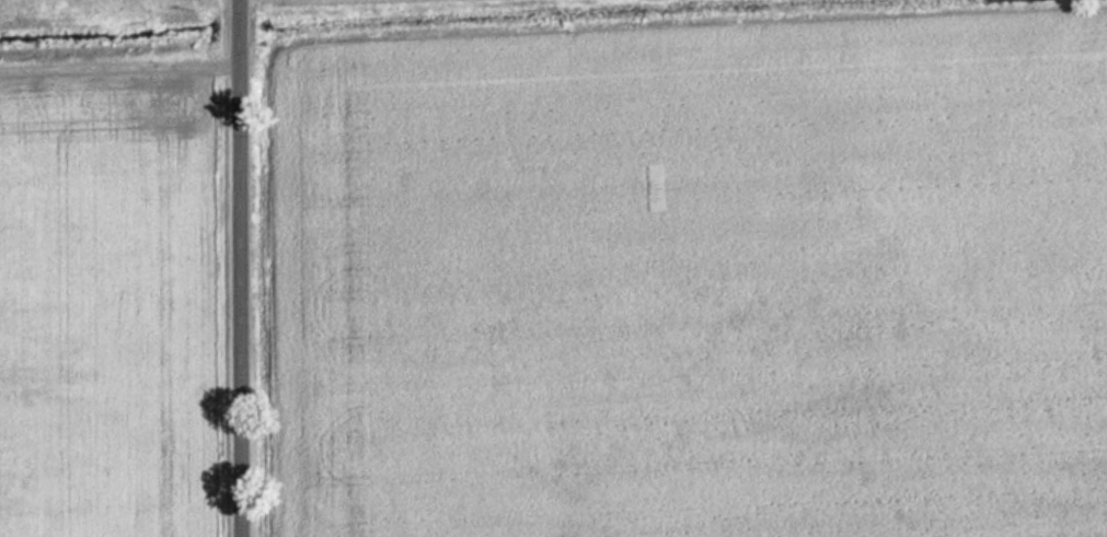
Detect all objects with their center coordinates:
road: (247, 268)

